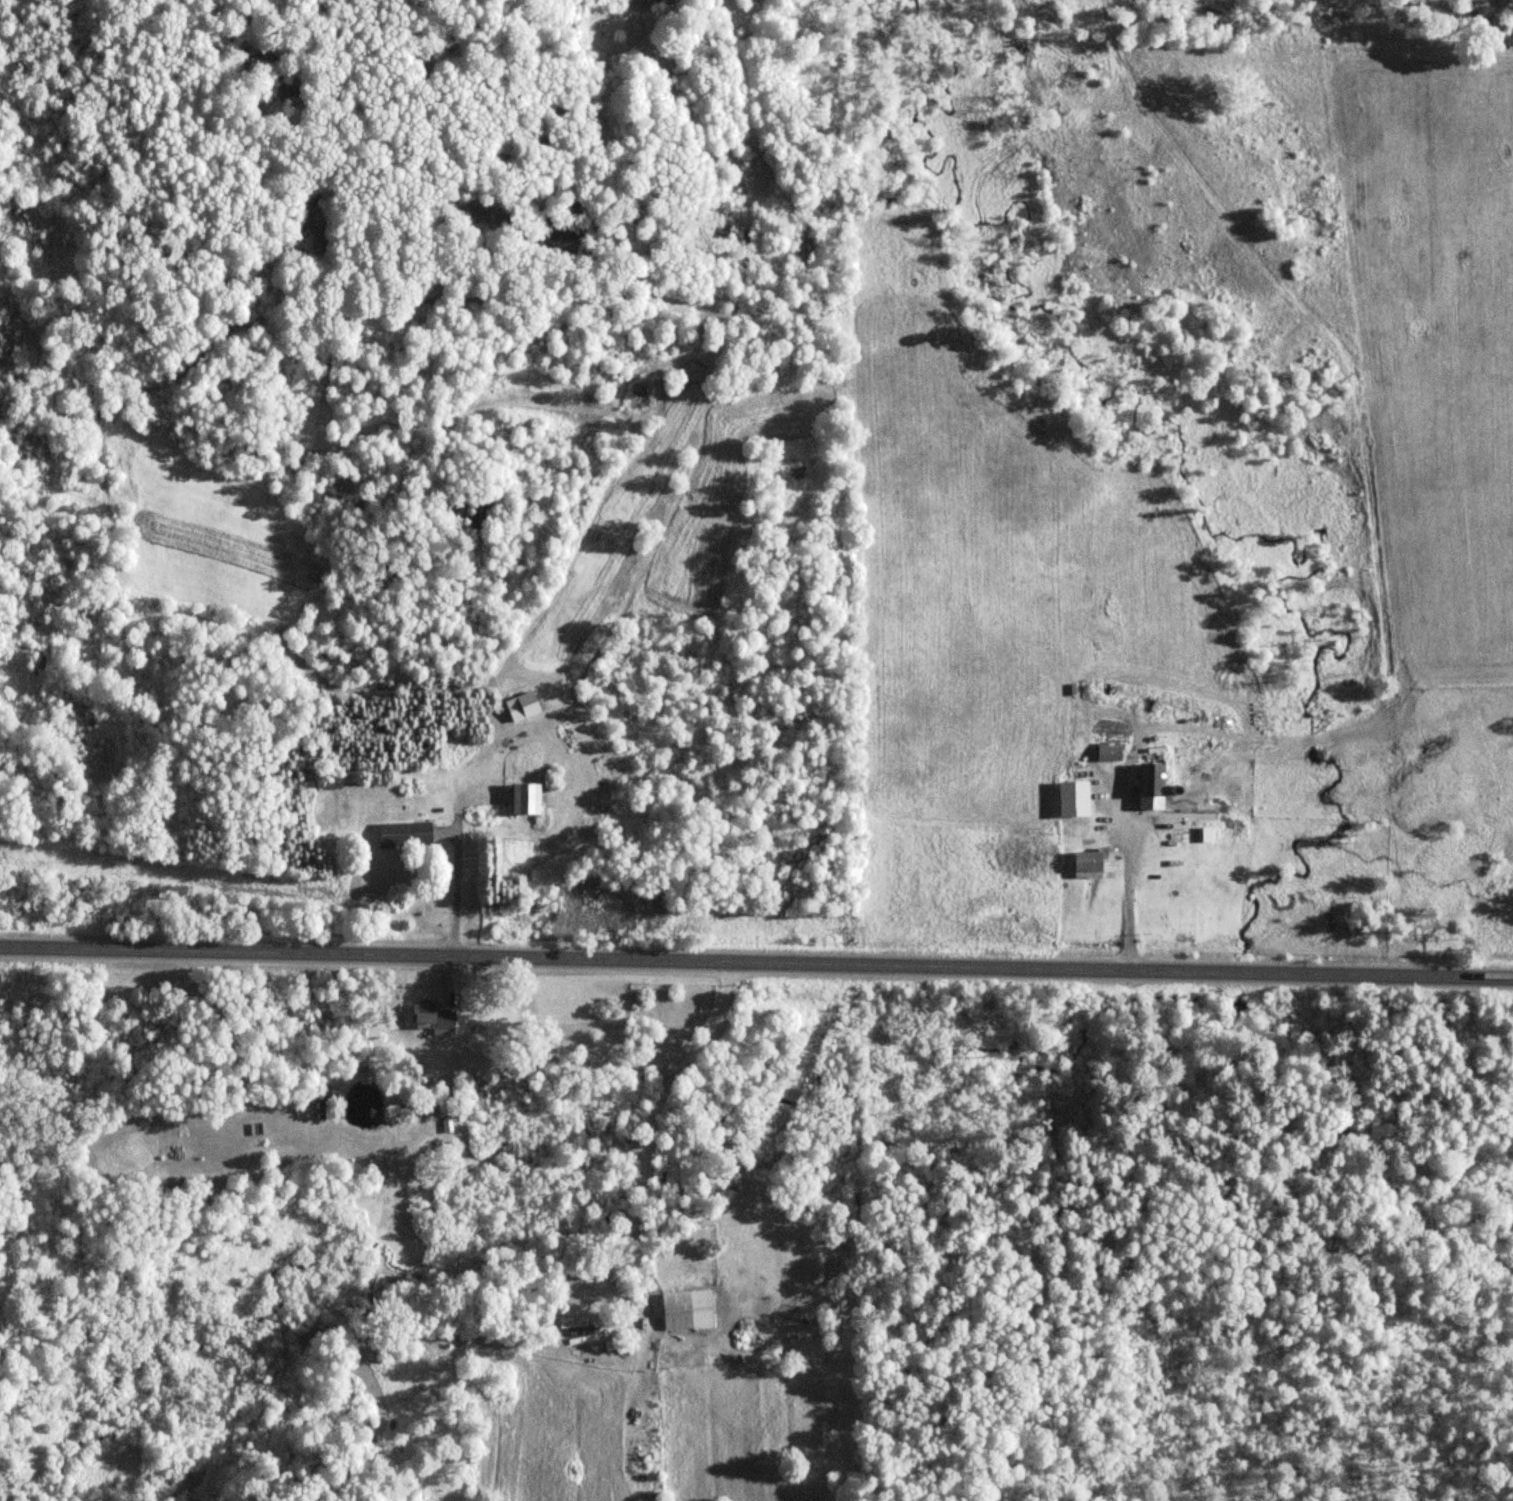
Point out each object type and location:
building: (523, 706)
building: (1109, 753)
building: (1152, 787)
building: (526, 798)
building: (404, 834)
building: (1088, 865)
road: (1123, 874)
road: (756, 959)
building: (436, 1019)
building: (443, 1105)
road: (648, 1128)
building: (687, 1310)
building: (579, 1321)

